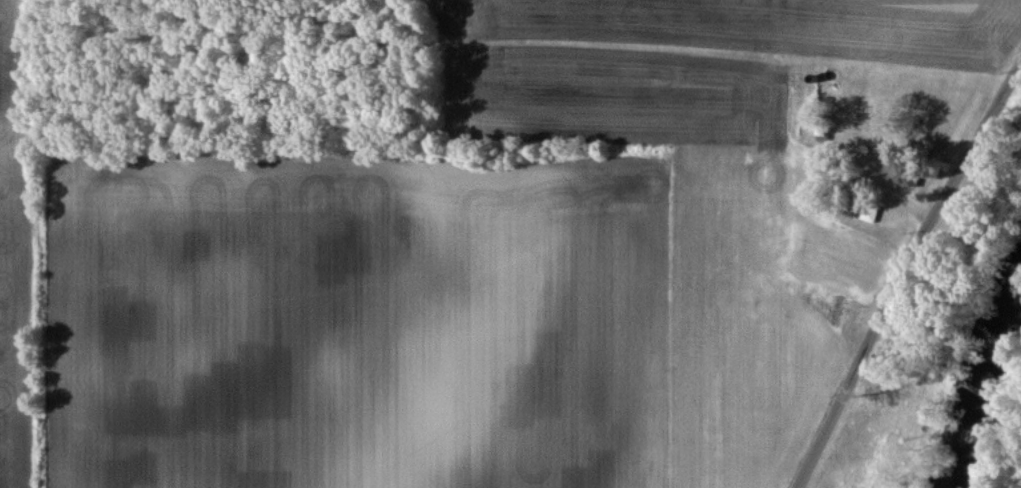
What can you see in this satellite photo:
building: (902, 172)
road: (899, 267)

